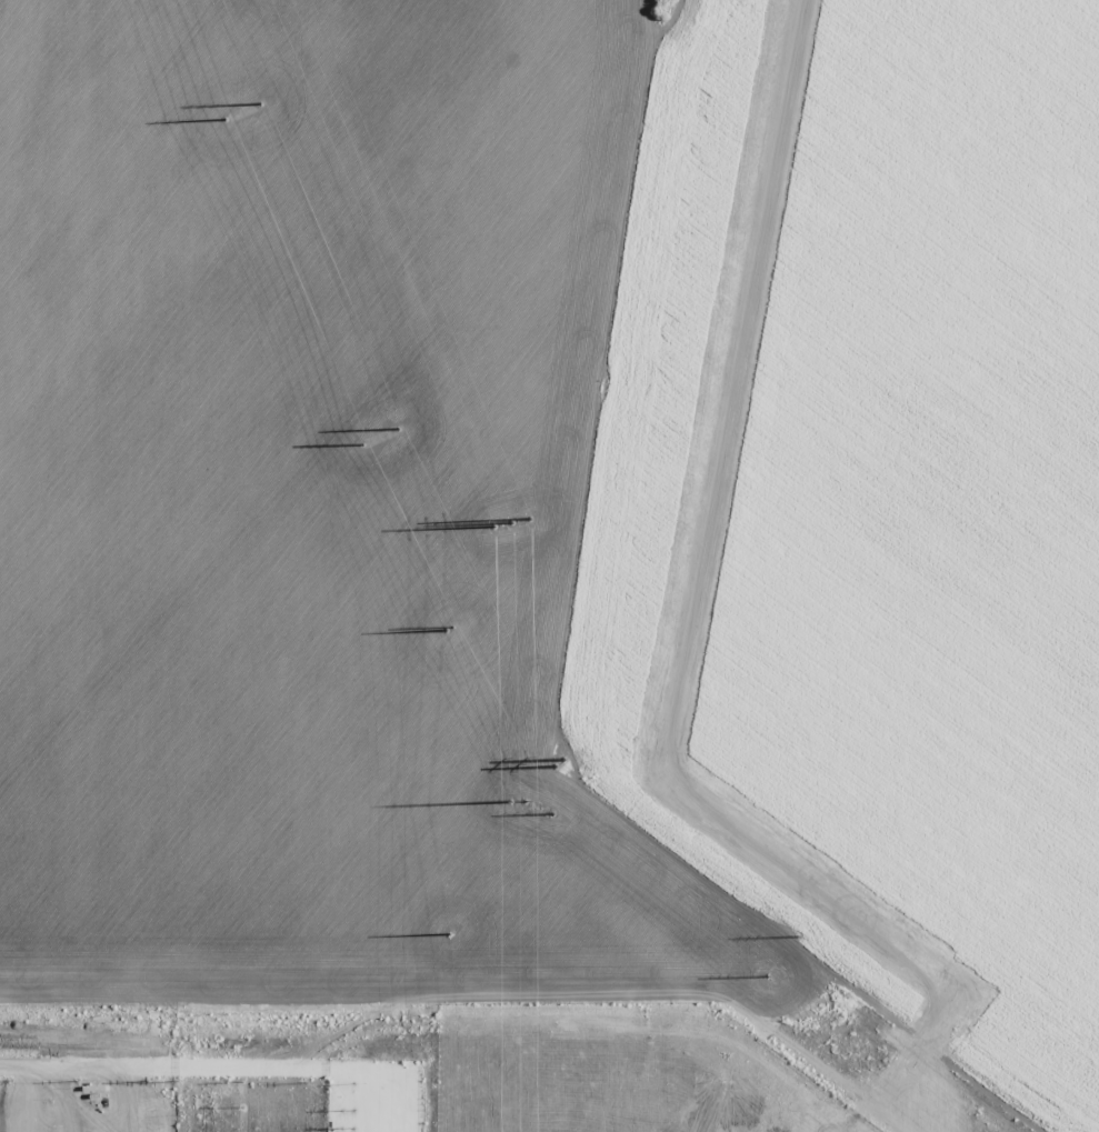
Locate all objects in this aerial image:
power tower: (259, 103)
power tower: (224, 119)
power tower: (397, 428)
power tower: (361, 443)
power tower: (514, 535)
crop: (549, 565)
power tower: (448, 625)
power tower: (550, 758)
power tower: (516, 792)
power tower: (550, 813)
power tower: (447, 935)
power tower: (797, 935)
power tower: (766, 976)

